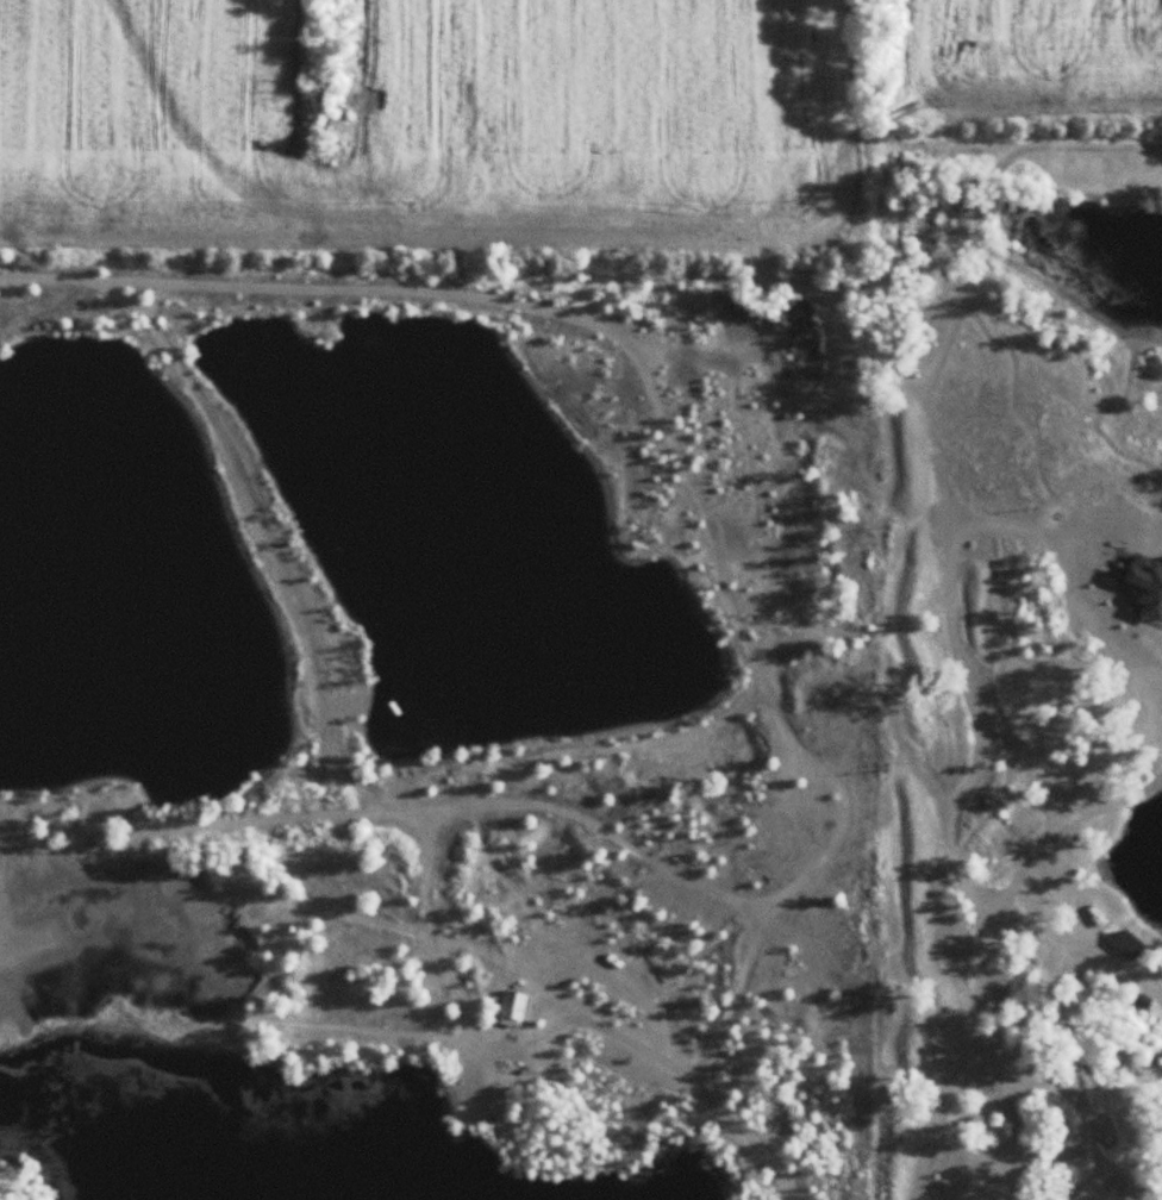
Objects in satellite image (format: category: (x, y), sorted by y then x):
road: (626, 324)
road: (1081, 582)
road: (951, 595)
road: (1125, 650)
road: (1062, 832)
road: (735, 1000)

